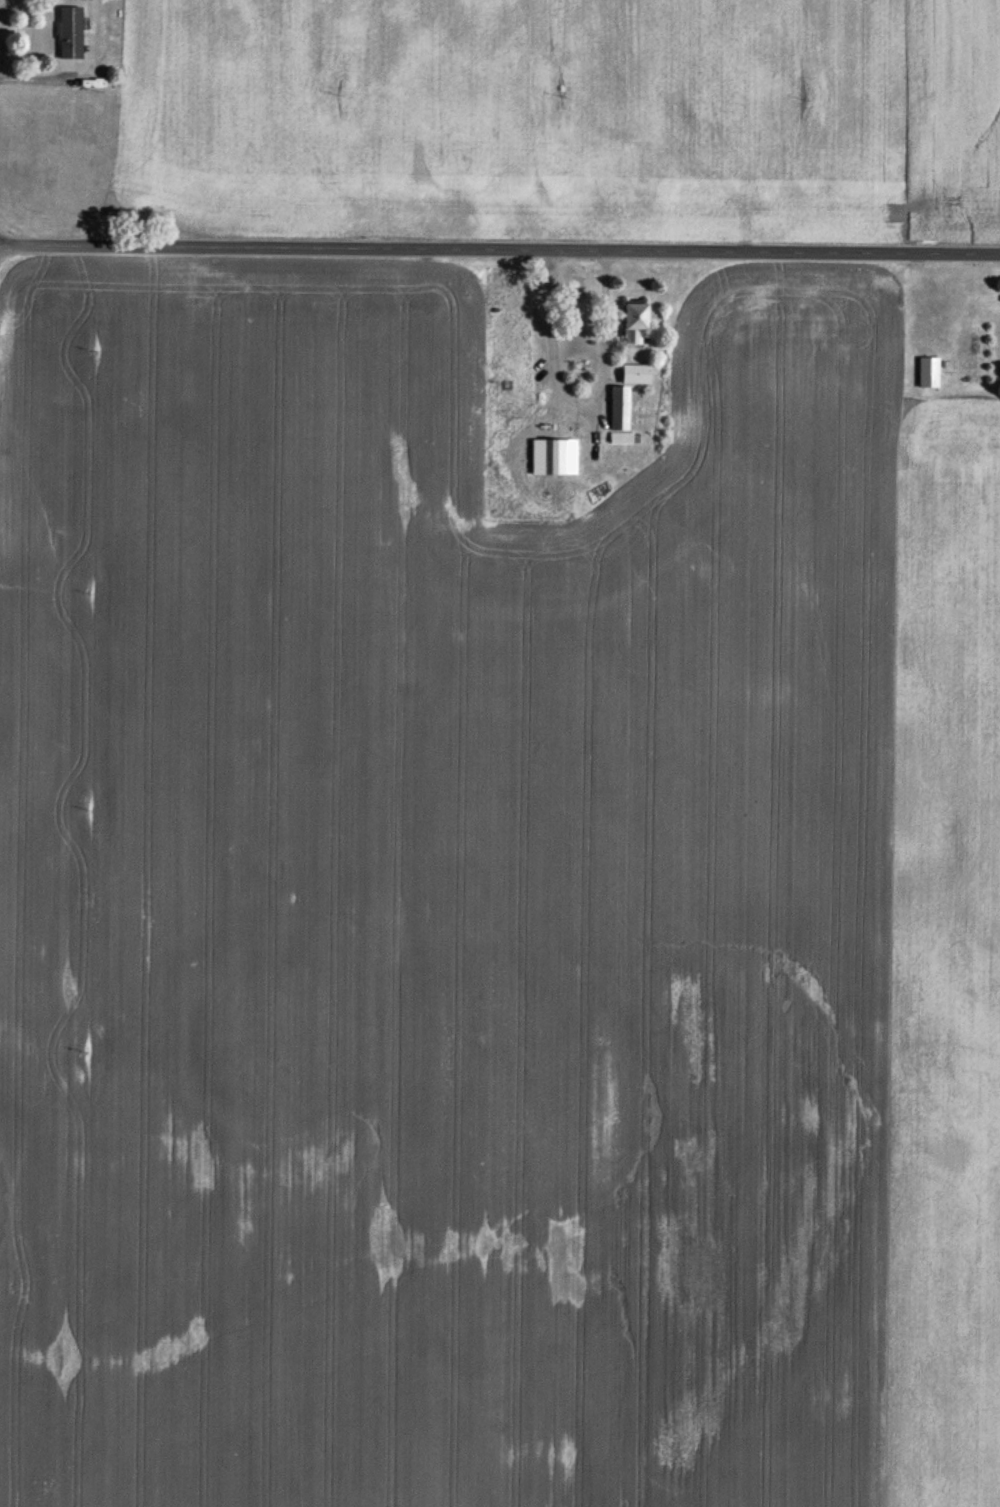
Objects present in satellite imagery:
building: (68, 36)
road: (499, 251)
building: (630, 327)
building: (927, 376)
building: (633, 378)
road: (580, 406)
building: (617, 412)
building: (550, 473)

